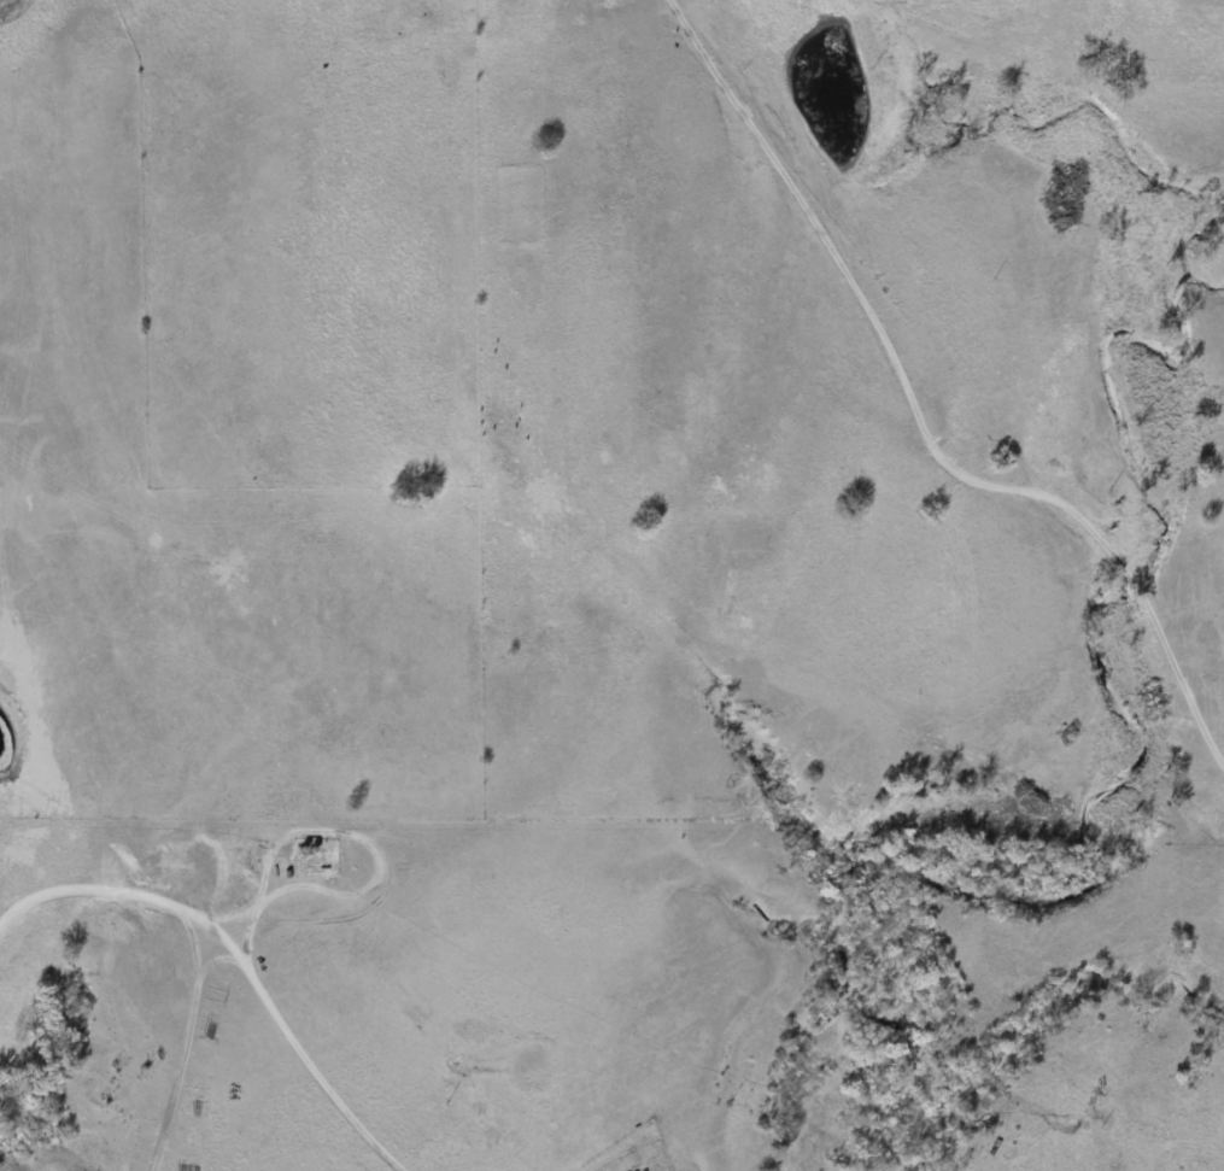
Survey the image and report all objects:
road: (925, 380)
road: (238, 955)

